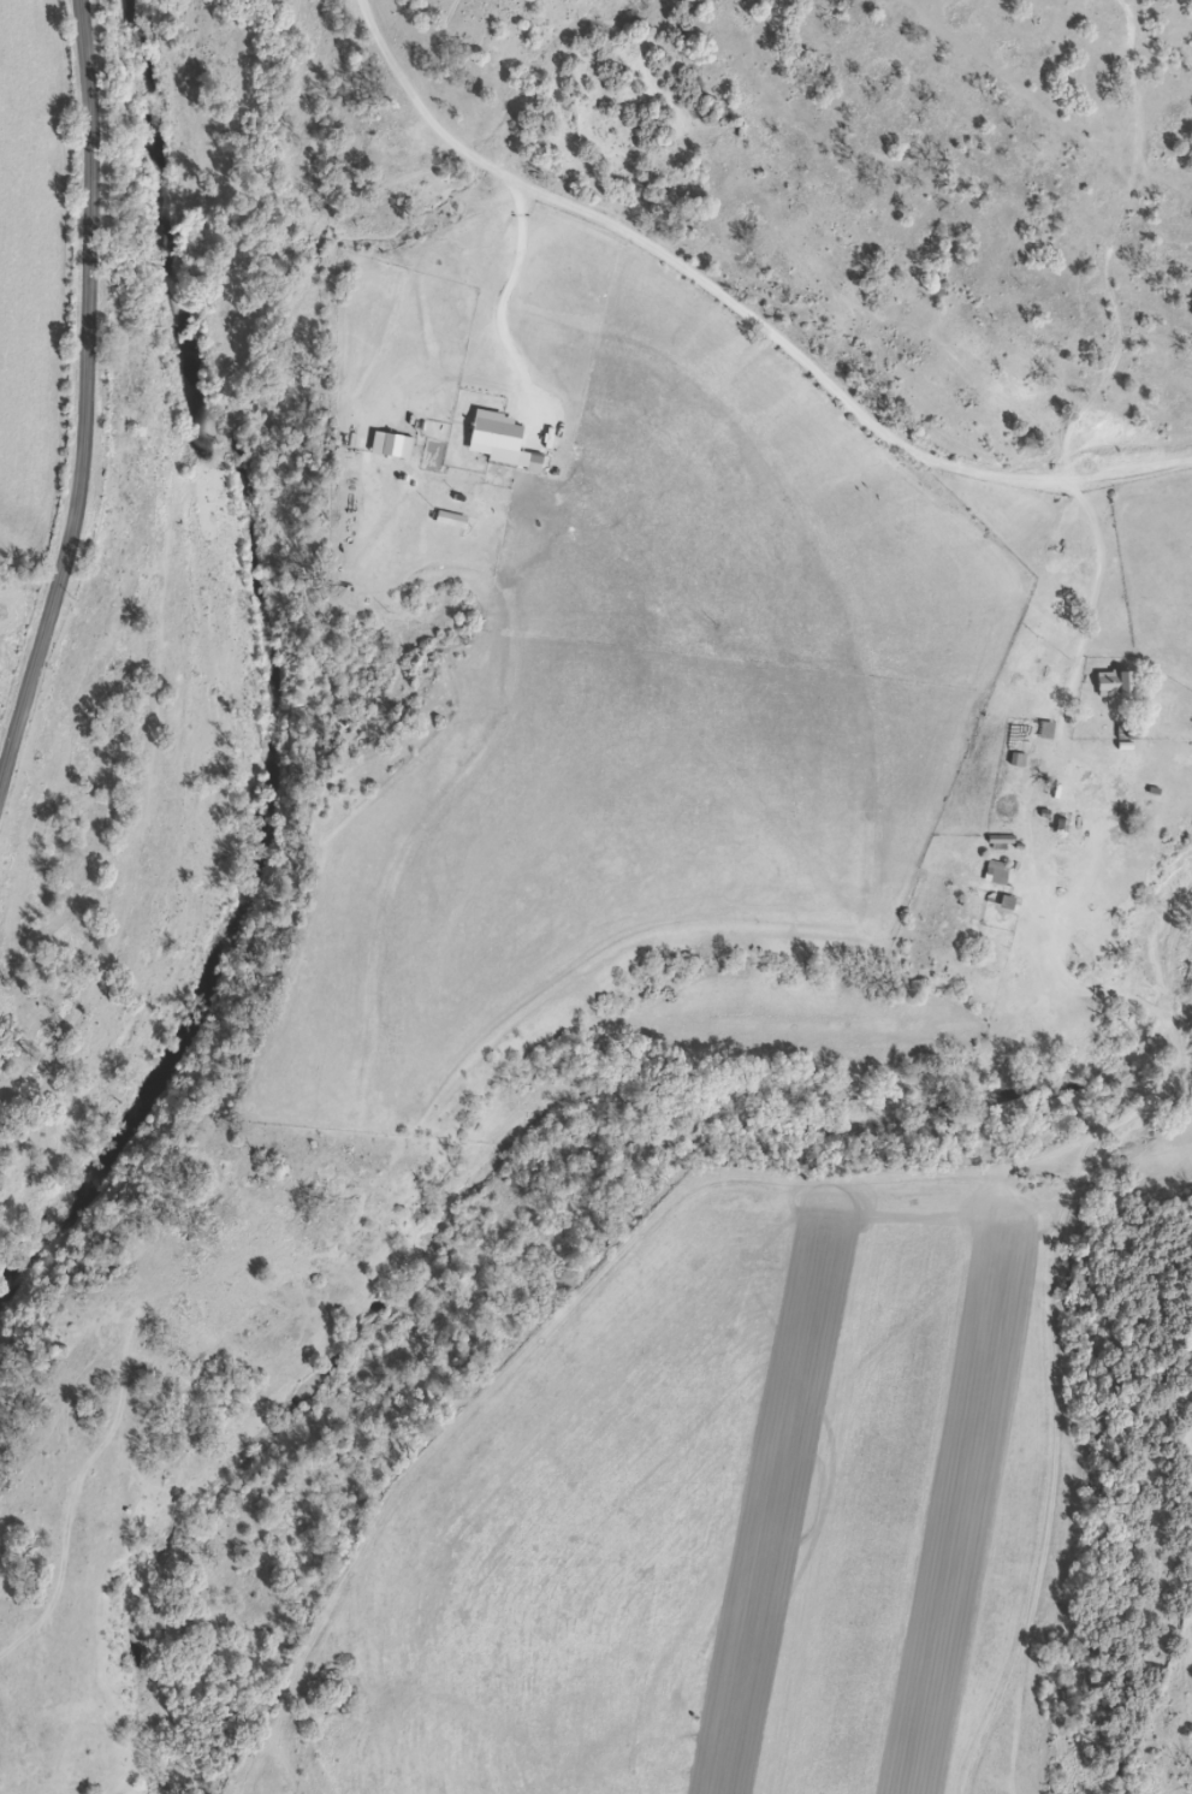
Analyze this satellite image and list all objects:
road: (1127, 173)
road: (746, 303)
road: (511, 307)
road: (83, 396)
building: (1107, 683)
building: (1040, 730)
building: (1065, 842)
building: (992, 872)

